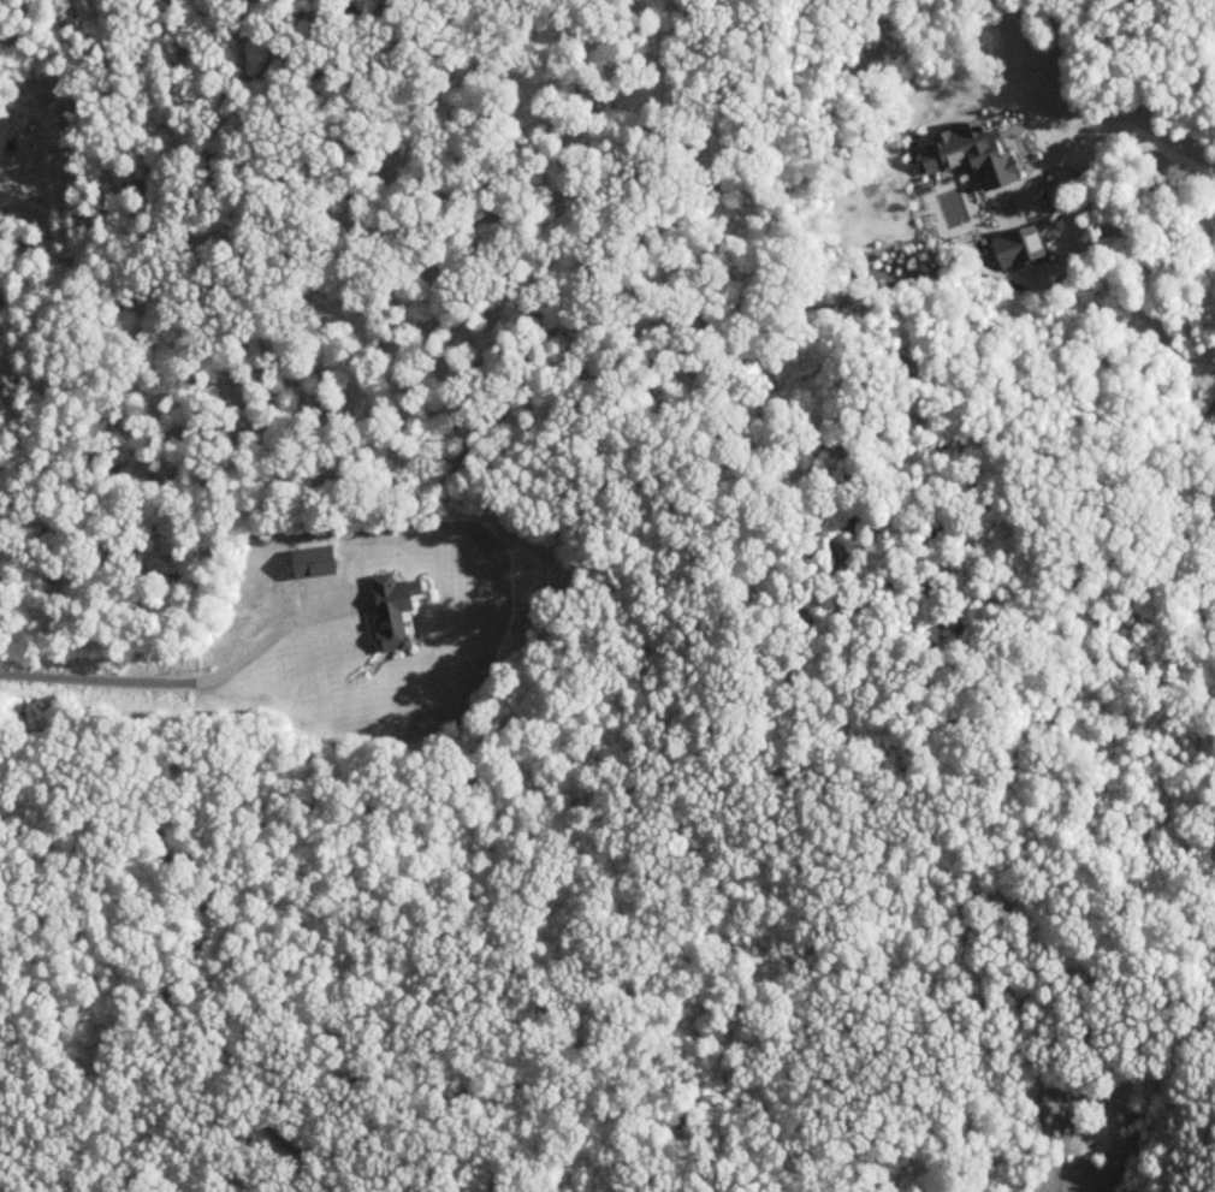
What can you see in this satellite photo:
road: (1102, 126)
building: (316, 564)
building: (397, 612)
road: (148, 682)

